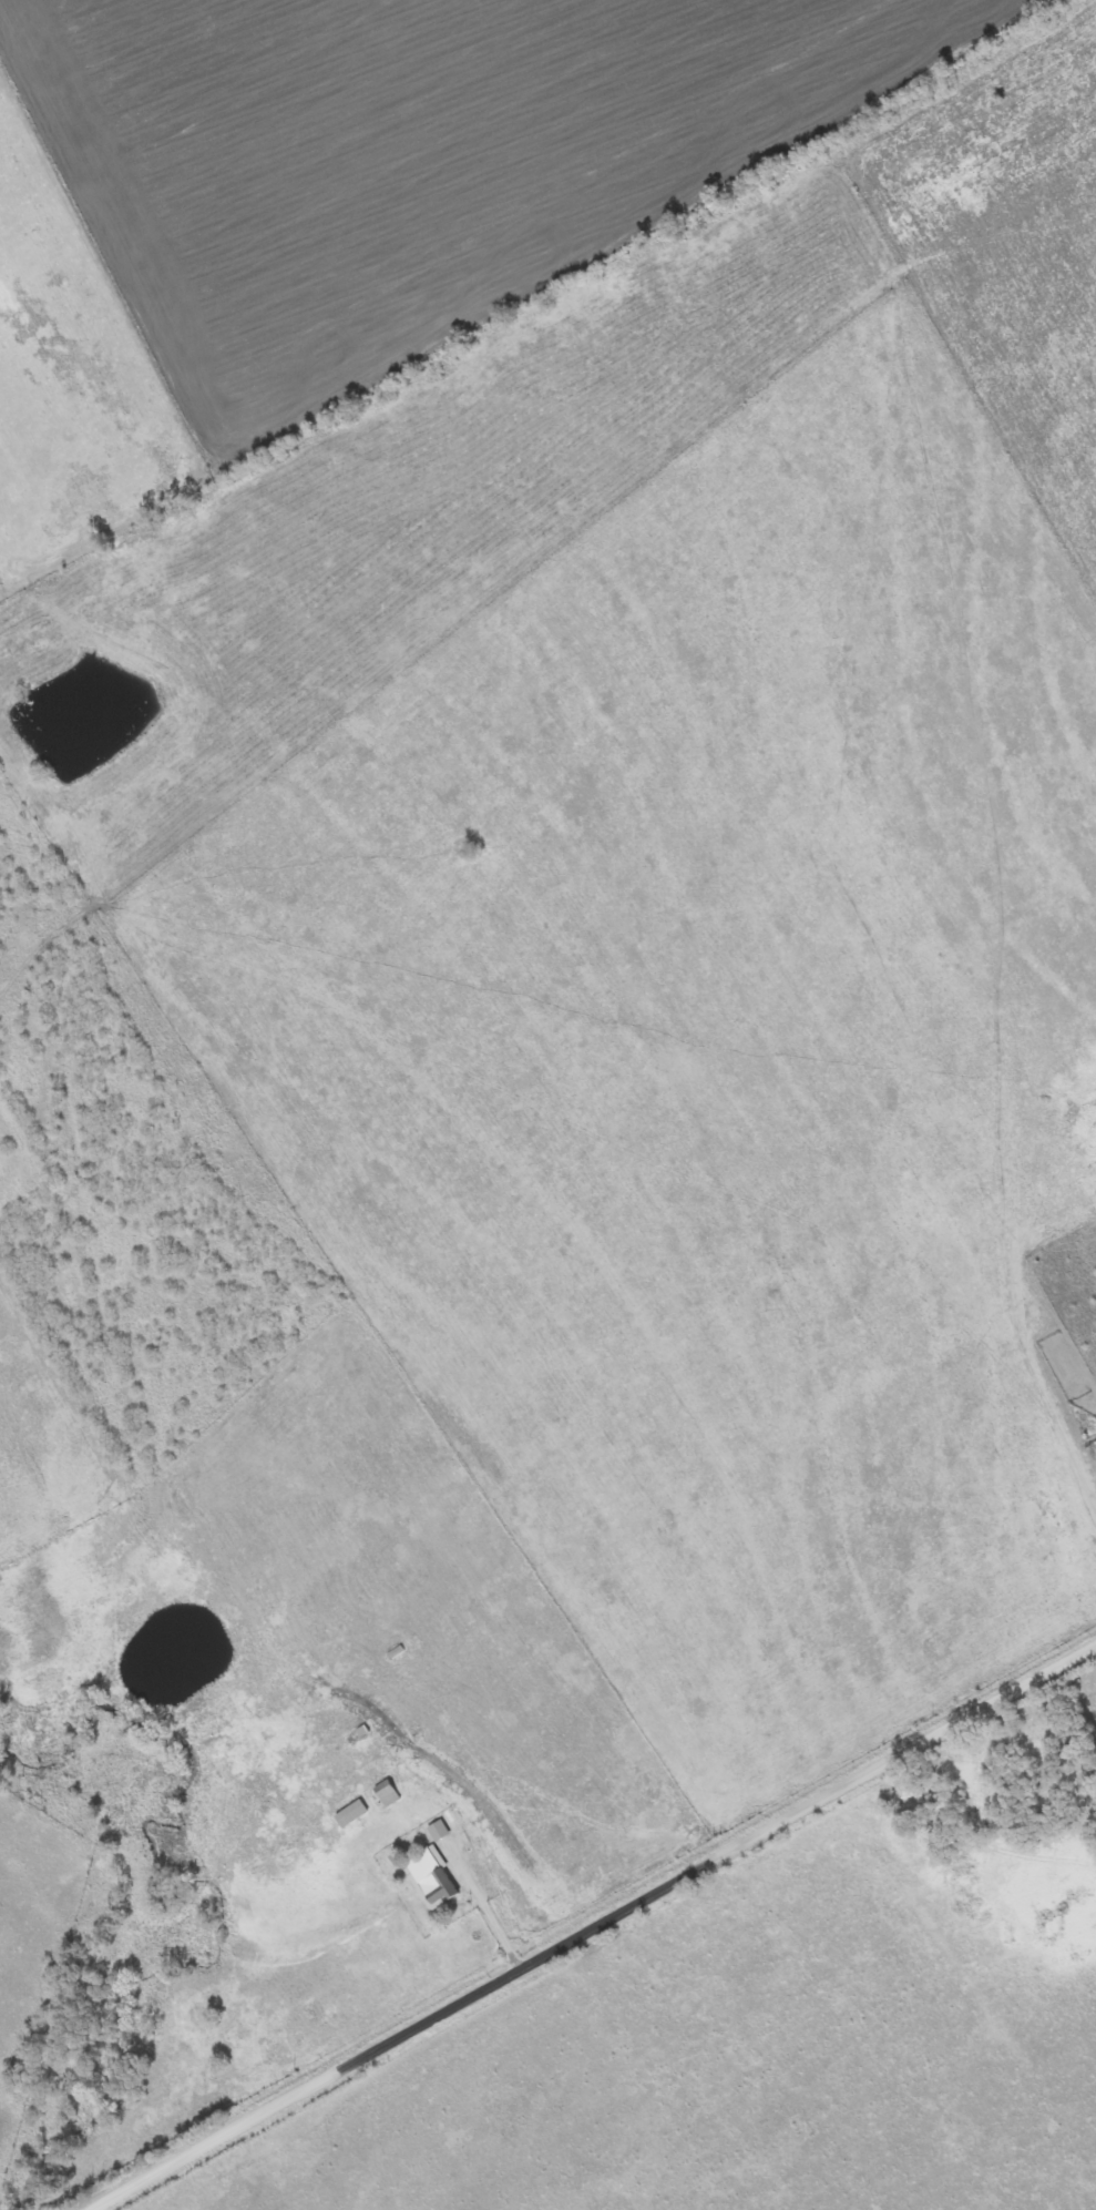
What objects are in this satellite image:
building: (388, 1795)
building: (351, 1815)
building: (438, 1833)
building: (432, 1877)
road: (595, 1932)

